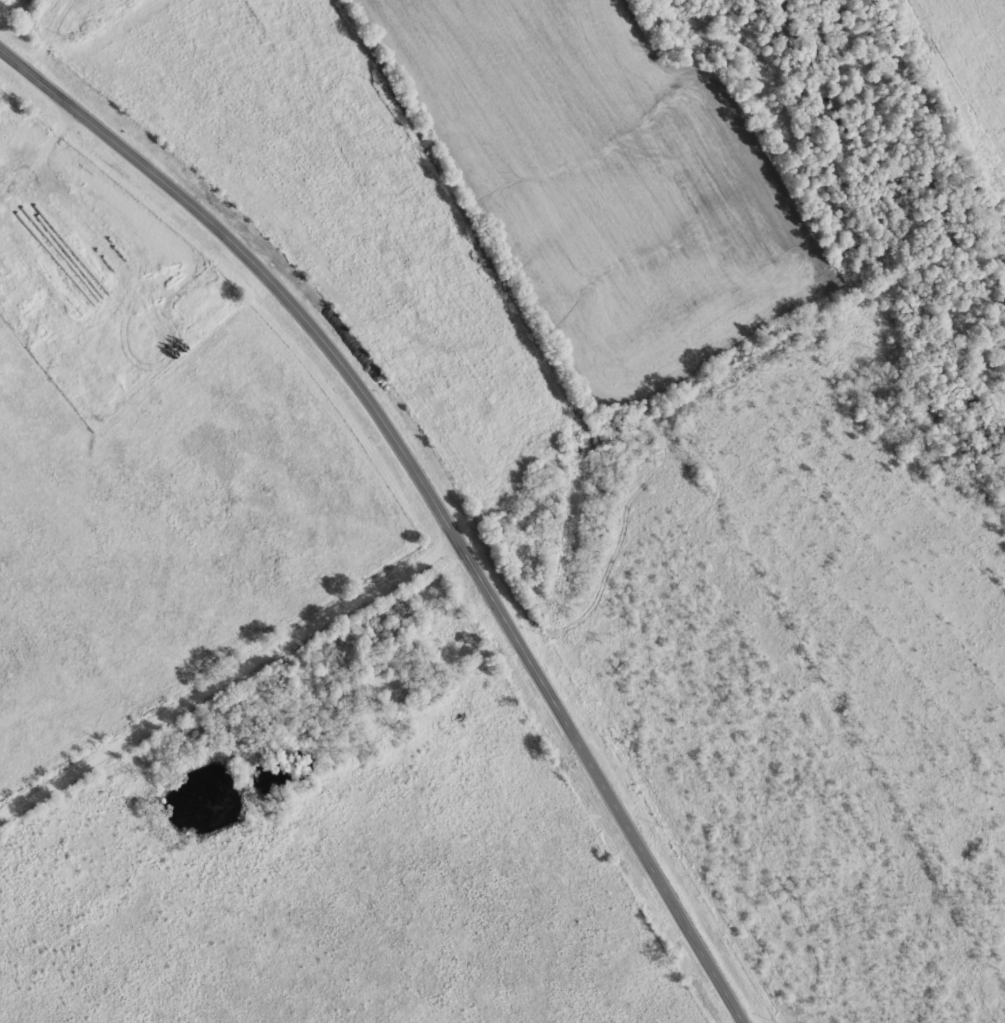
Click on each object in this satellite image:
road: (425, 491)
road: (230, 681)

